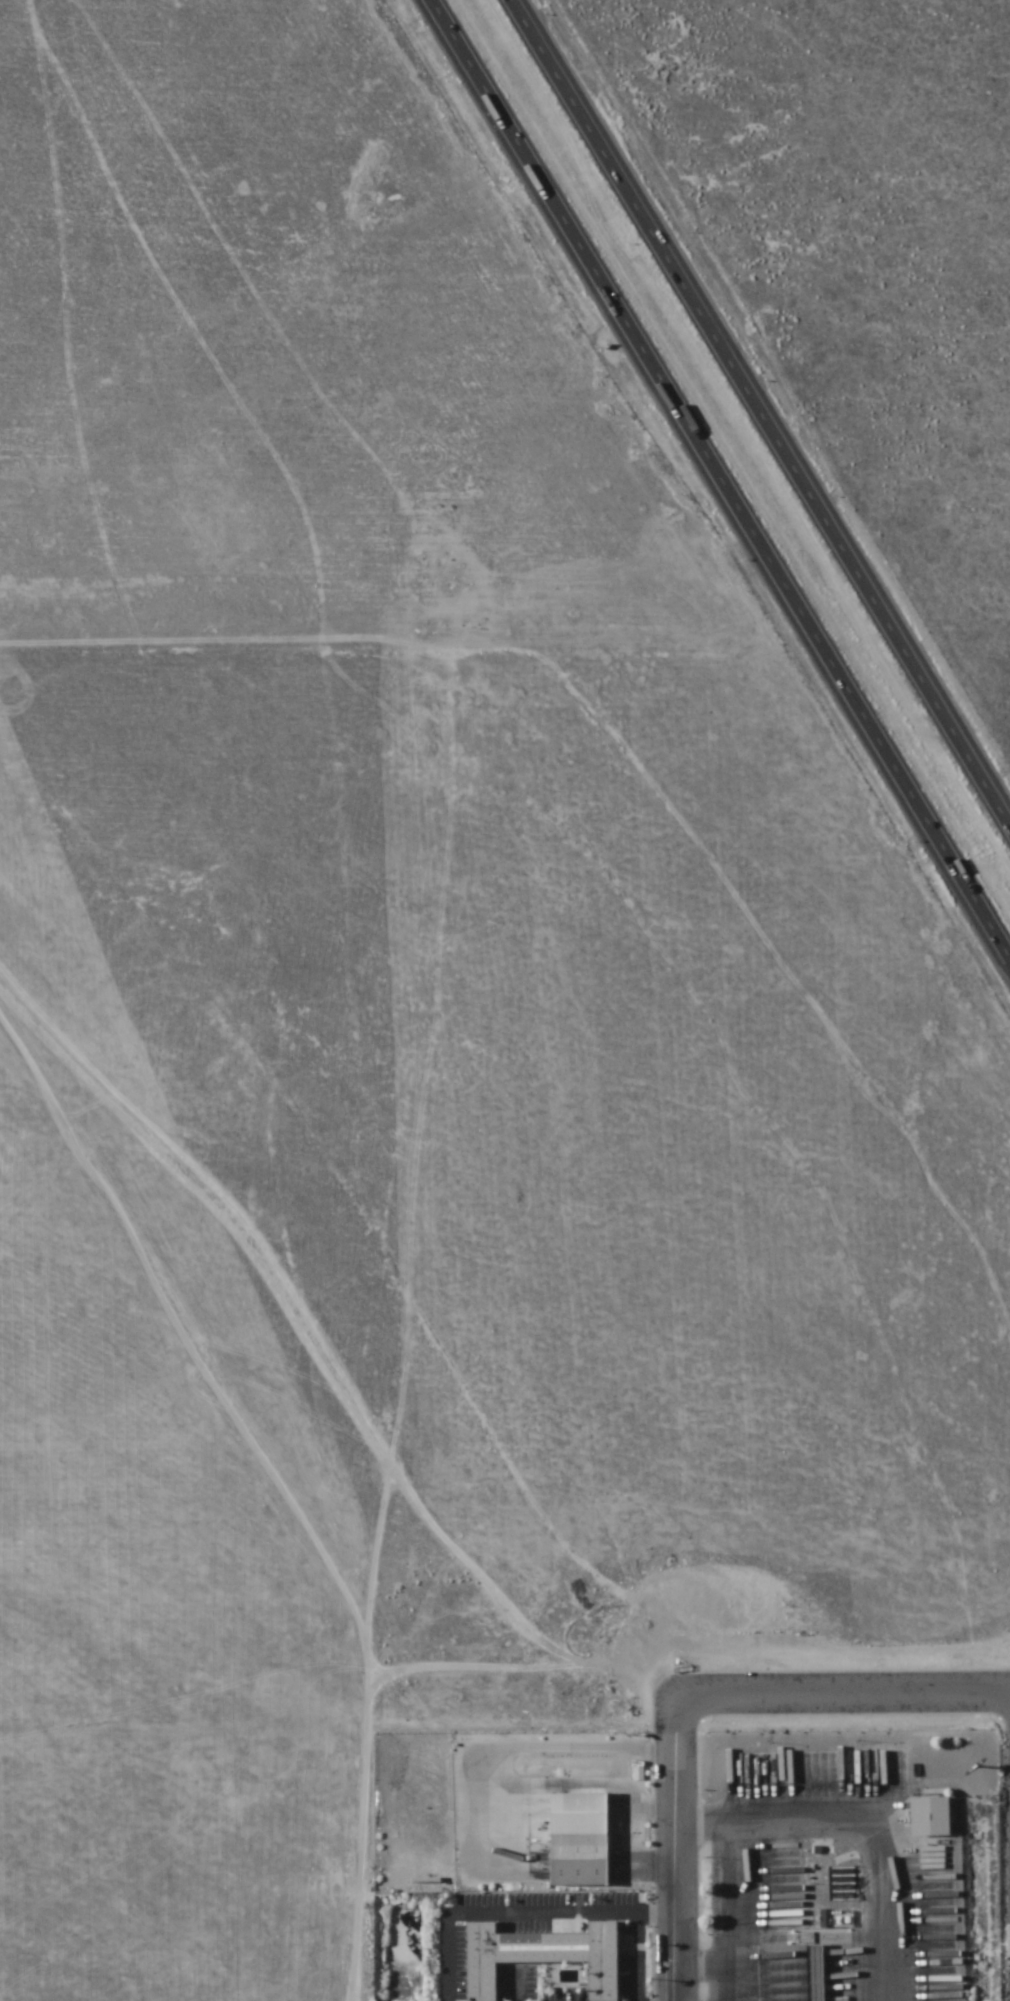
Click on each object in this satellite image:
road: (766, 402)
road: (725, 470)
crop: (183, 1180)
road: (847, 1698)
road: (682, 1849)
building: (577, 1860)
road: (524, 1911)
building: (548, 1955)
road: (637, 1955)
building: (814, 1972)
road: (516, 1990)

